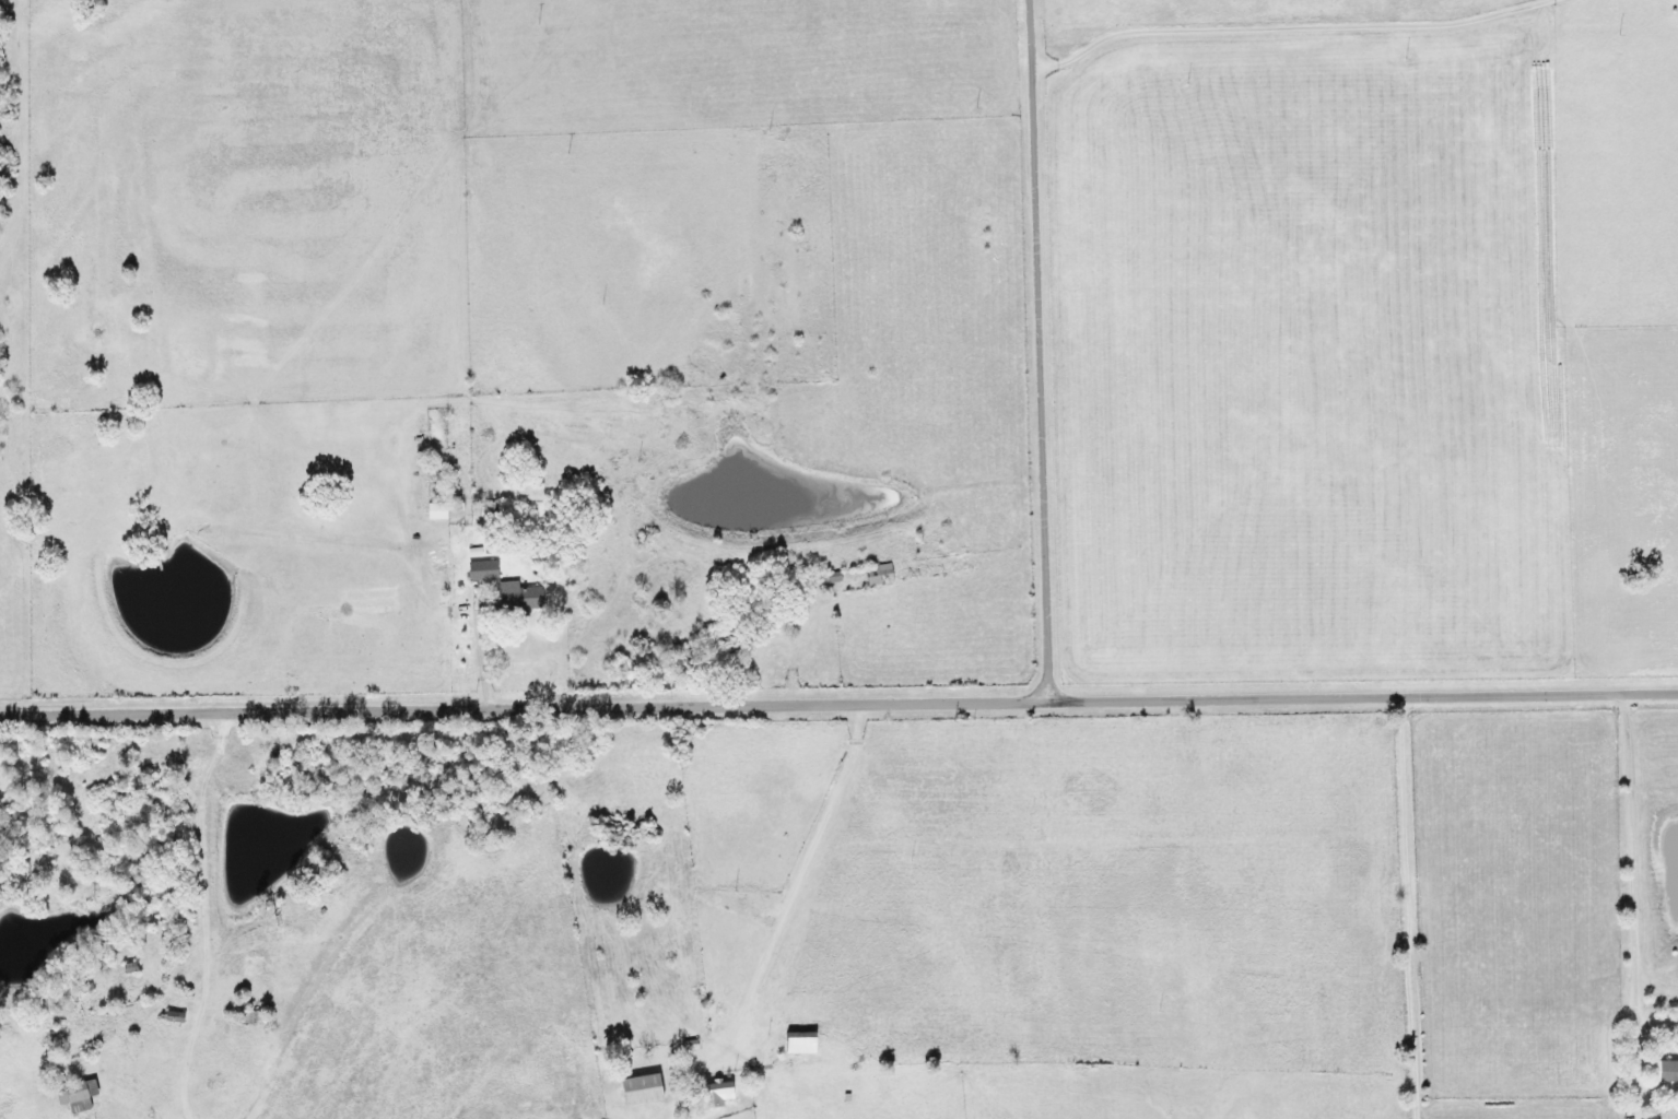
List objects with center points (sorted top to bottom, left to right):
road: (1280, 27)
road: (51, 179)
road: (1041, 352)
building: (435, 510)
building: (483, 513)
building: (476, 572)
building: (875, 575)
building: (826, 578)
road: (146, 588)
building: (508, 598)
road: (1361, 696)
road: (523, 710)
road: (1626, 861)
road: (800, 885)
road: (1405, 907)
building: (793, 1044)
building: (1659, 1072)
building: (634, 1091)
building: (712, 1095)
building: (72, 1096)

